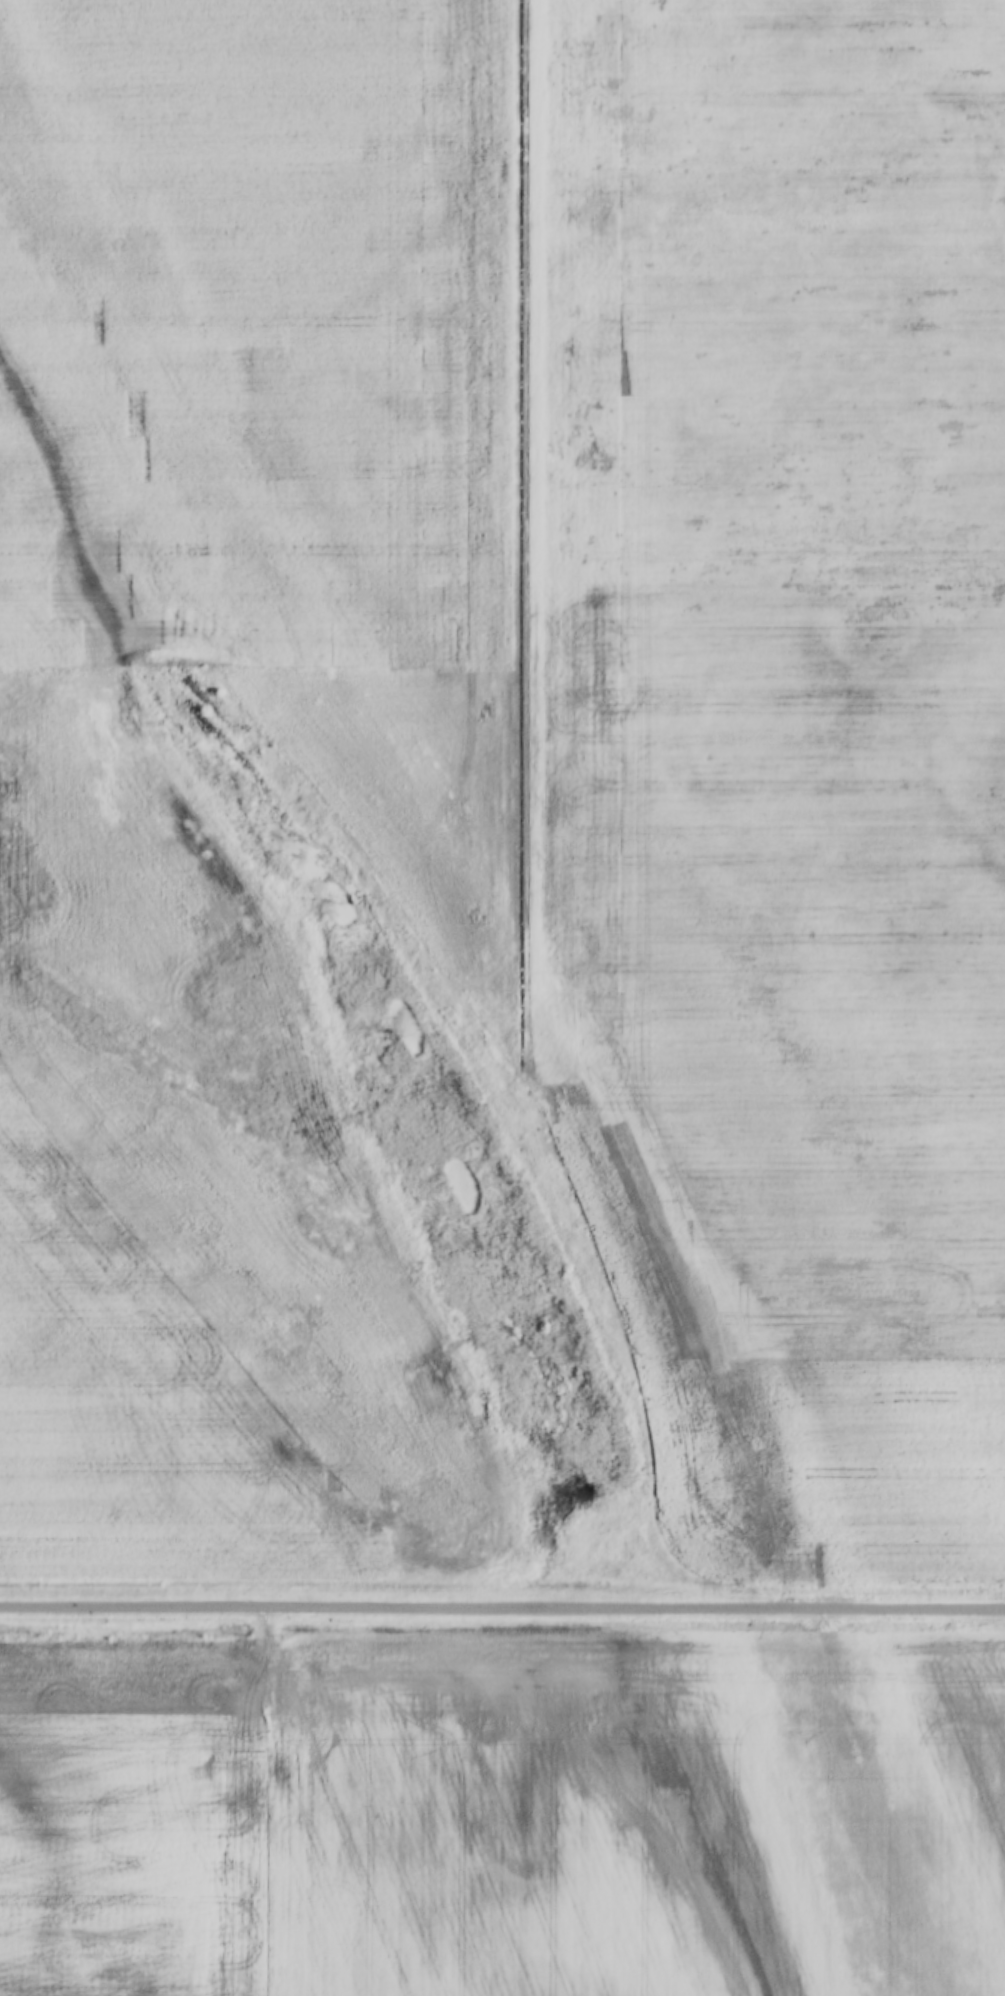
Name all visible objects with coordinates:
road: (502, 1605)

